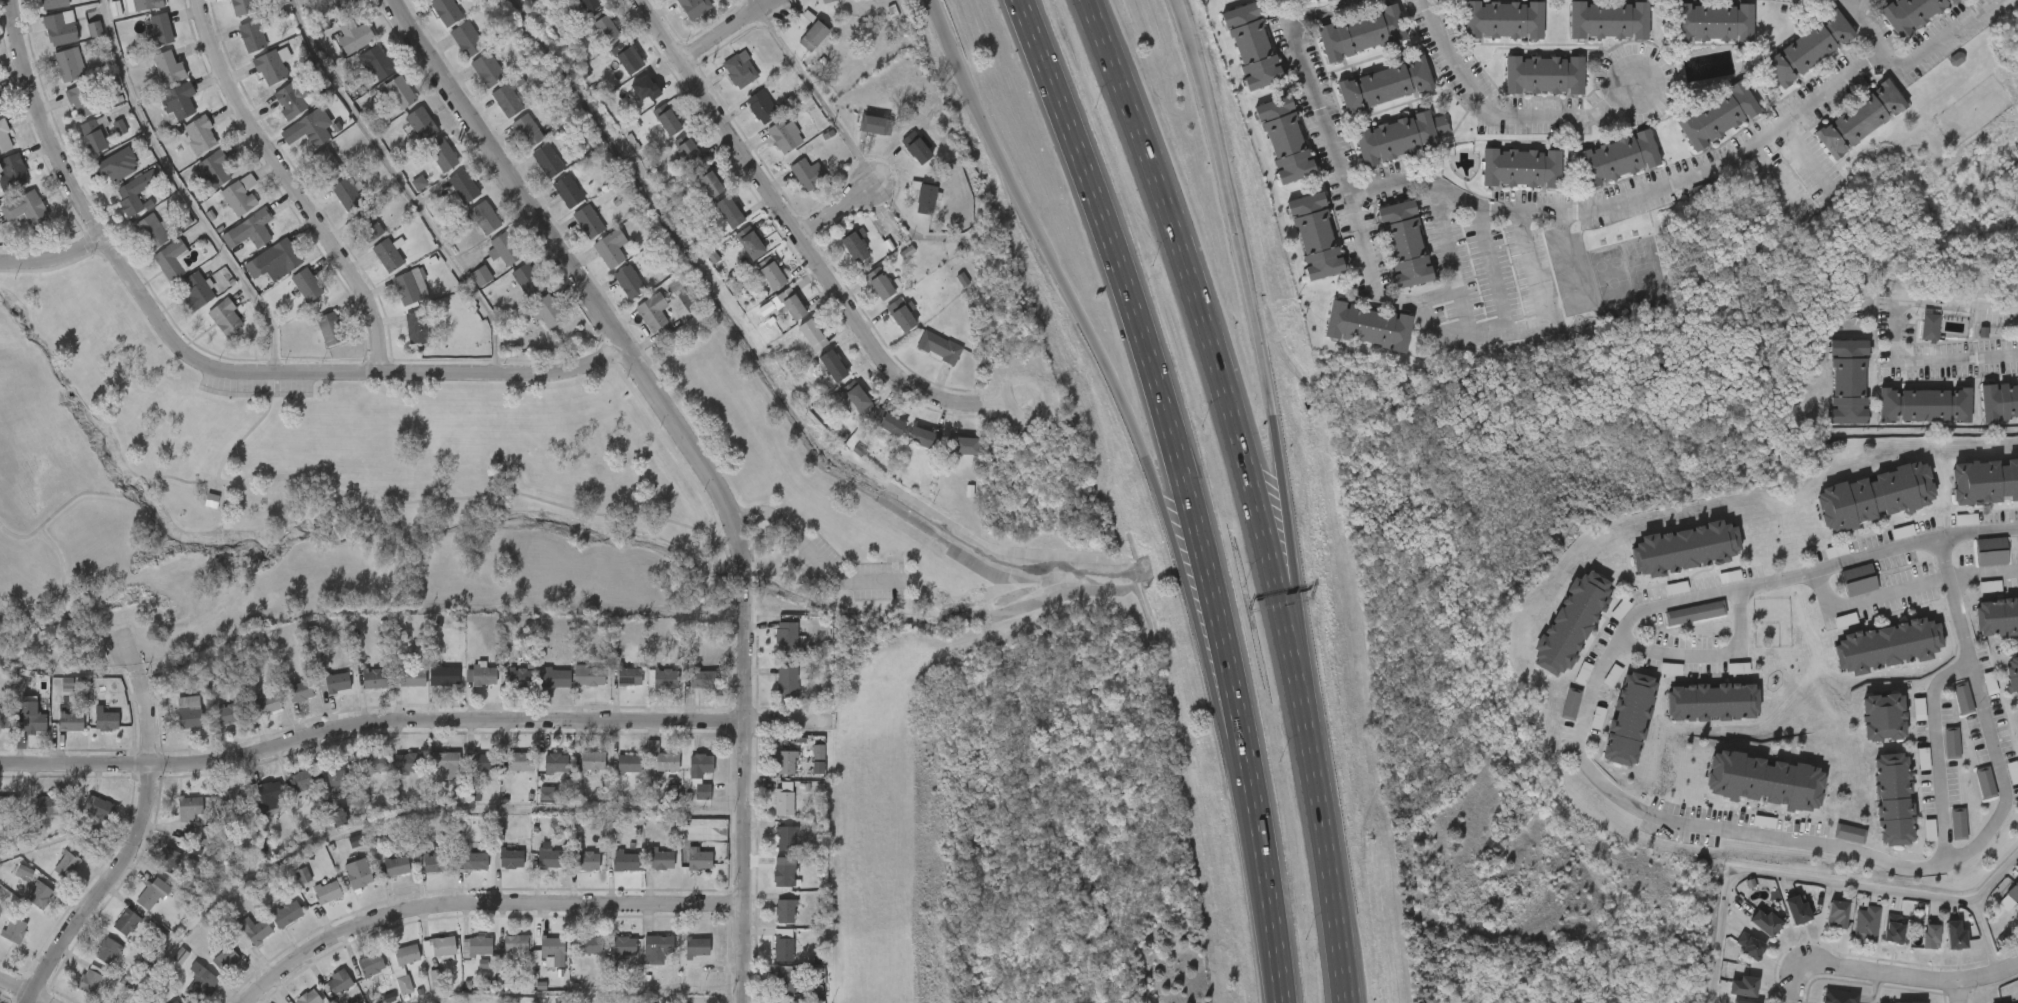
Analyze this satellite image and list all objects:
building: (1328, 0)
building: (828, 1)
building: (53, 4)
building: (147, 4)
building: (589, 4)
road: (1847, 4)
building: (341, 5)
building: (243, 7)
building: (695, 7)
building: (446, 11)
building: (1911, 14)
building: (1501, 19)
building: (1609, 21)
building: (1714, 22)
road: (1861, 22)
building: (60, 28)
building: (95, 29)
building: (607, 29)
building: (159, 31)
building: (356, 31)
road: (726, 32)
building: (1362, 34)
building: (813, 35)
building: (252, 36)
building: (467, 39)
building: (1250, 45)
building: (1808, 46)
building: (627, 57)
building: (377, 62)
building: (69, 65)
building: (169, 67)
building: (271, 68)
building: (488, 69)
building: (740, 72)
building: (1545, 76)
building: (1384, 84)
building: (645, 88)
road: (818, 96)
building: (292, 99)
building: (508, 100)
building: (81, 102)
building: (178, 102)
building: (410, 106)
building: (763, 107)
building: (1, 110)
road: (1502, 116)
building: (1719, 116)
building: (1861, 118)
building: (667, 120)
building: (877, 125)
building: (120, 127)
building: (307, 131)
building: (527, 131)
building: (200, 135)
building: (94, 136)
building: (1398, 136)
building: (787, 138)
building: (1282, 138)
building: (5, 139)
building: (917, 148)
building: (689, 153)
building: (442, 155)
building: (1618, 157)
building: (548, 161)
building: (326, 164)
building: (118, 165)
building: (1519, 166)
building: (217, 169)
building: (13, 171)
building: (808, 174)
road: (404, 183)
building: (419, 183)
building: (710, 184)
road: (1434, 184)
road: (292, 186)
building: (463, 187)
road: (183, 191)
building: (568, 192)
building: (134, 193)
building: (240, 195)
building: (347, 195)
building: (926, 198)
road: (1228, 205)
building: (25, 208)
road: (837, 210)
building: (730, 212)
building: (485, 217)
building: (589, 222)
building: (368, 226)
building: (258, 227)
road: (794, 227)
building: (150, 232)
building: (1314, 235)
road: (1443, 237)
building: (1405, 243)
building: (752, 246)
building: (855, 246)
building: (506, 248)
building: (611, 248)
building: (284, 255)
building: (387, 255)
road: (53, 256)
building: (171, 259)
road: (55, 267)
building: (255, 267)
road: (1494, 270)
road: (574, 272)
building: (481, 276)
building: (771, 277)
building: (528, 280)
road: (1535, 280)
building: (629, 282)
building: (883, 284)
building: (307, 285)
building: (407, 289)
building: (197, 291)
building: (685, 302)
building: (785, 305)
building: (545, 311)
building: (653, 312)
building: (902, 316)
building: (226, 318)
road: (1081, 320)
building: (1929, 320)
building: (1366, 325)
building: (416, 327)
building: (330, 329)
road: (1895, 330)
building: (813, 335)
building: (939, 346)
road: (208, 364)
road: (1218, 365)
building: (833, 366)
building: (1847, 377)
building: (1999, 395)
building: (858, 396)
building: (1924, 399)
building: (891, 425)
building: (924, 438)
building: (965, 446)
road: (1168, 471)
building: (1984, 479)
park: (312, 494)
road: (354, 494)
building: (1874, 494)
building: (197, 518)
road: (1978, 528)
building: (1684, 546)
building: (1993, 547)
road: (812, 552)
road: (745, 572)
building: (1858, 574)
road: (1292, 578)
building: (1990, 586)
road: (1904, 587)
road: (63, 603)
building: (1694, 611)
building: (1996, 613)
building: (1570, 621)
building: (787, 636)
building: (1888, 640)
road: (1708, 656)
building: (630, 673)
building: (447, 675)
building: (484, 675)
building: (589, 675)
building: (2013, 675)
building: (412, 676)
building: (542, 676)
building: (374, 677)
building: (666, 677)
building: (702, 677)
building: (787, 679)
building: (337, 681)
building: (67, 685)
building: (300, 691)
building: (1964, 693)
building: (1711, 699)
building: (1571, 700)
building: (266, 703)
building: (1919, 709)
building: (231, 712)
building: (1882, 712)
building: (1630, 713)
building: (31, 716)
building: (190, 717)
building: (4, 718)
building: (1598, 718)
building: (106, 720)
road: (414, 720)
building: (71, 721)
road: (1222, 723)
building: (1952, 737)
building: (819, 752)
road: (1937, 752)
building: (521, 760)
building: (592, 760)
building: (408, 761)
building: (483, 761)
building: (666, 761)
building: (785, 761)
building: (374, 762)
building: (555, 762)
building: (629, 763)
building: (447, 765)
building: (340, 776)
building: (697, 777)
building: (1764, 778)
building: (302, 779)
building: (1986, 779)
building: (269, 791)
building: (474, 792)
building: (551, 794)
building: (1893, 795)
building: (352, 798)
road: (745, 798)
building: (784, 798)
building: (230, 799)
building: (9, 804)
building: (99, 807)
building: (189, 807)
building: (39, 810)
building: (339, 817)
building: (1959, 820)
road: (1701, 822)
building: (1849, 828)
road: (141, 830)
building: (786, 837)
building: (357, 841)
building: (511, 857)
building: (551, 857)
building: (662, 857)
building: (474, 859)
building: (585, 859)
building: (700, 859)
building: (435, 860)
building: (625, 860)
building: (67, 861)
building: (169, 861)
building: (396, 865)
building: (25, 872)
building: (357, 872)
road: (1329, 872)
building: (785, 873)
building: (303, 875)
road: (1823, 883)
building: (2014, 889)
building: (327, 890)
building: (153, 892)
building: (41, 895)
road: (482, 904)
building: (785, 909)
building: (1797, 910)
building: (1838, 910)
building: (286, 912)
building: (1866, 918)
building: (1764, 920)
building: (127, 921)
building: (1892, 925)
building: (13, 928)
building: (255, 928)
building: (1930, 932)
building: (1955, 934)
road: (1987, 938)
building: (1750, 941)
building: (515, 943)
building: (589, 943)
building: (479, 944)
building: (624, 944)
building: (438, 945)
building: (697, 945)
building: (784, 946)
building: (657, 947)
building: (553, 948)
building: (108, 950)
building: (181, 955)
building: (223, 961)
building: (371, 964)
building: (398, 968)
building: (693, 971)
road: (1896, 977)
building: (91, 979)
building: (437, 979)
building: (339, 981)
road: (1275, 981)
building: (201, 982)
building: (787, 982)
building: (1743, 985)
building: (510, 986)
road: (1876, 989)
road: (24, 991)
building: (158, 992)
road: (1959, 993)
building: (1838, 995)
building: (308, 997)
building: (1744, 1001)
building: (176, 1002)
building: (785, 1002)
building: (1904, 1002)

